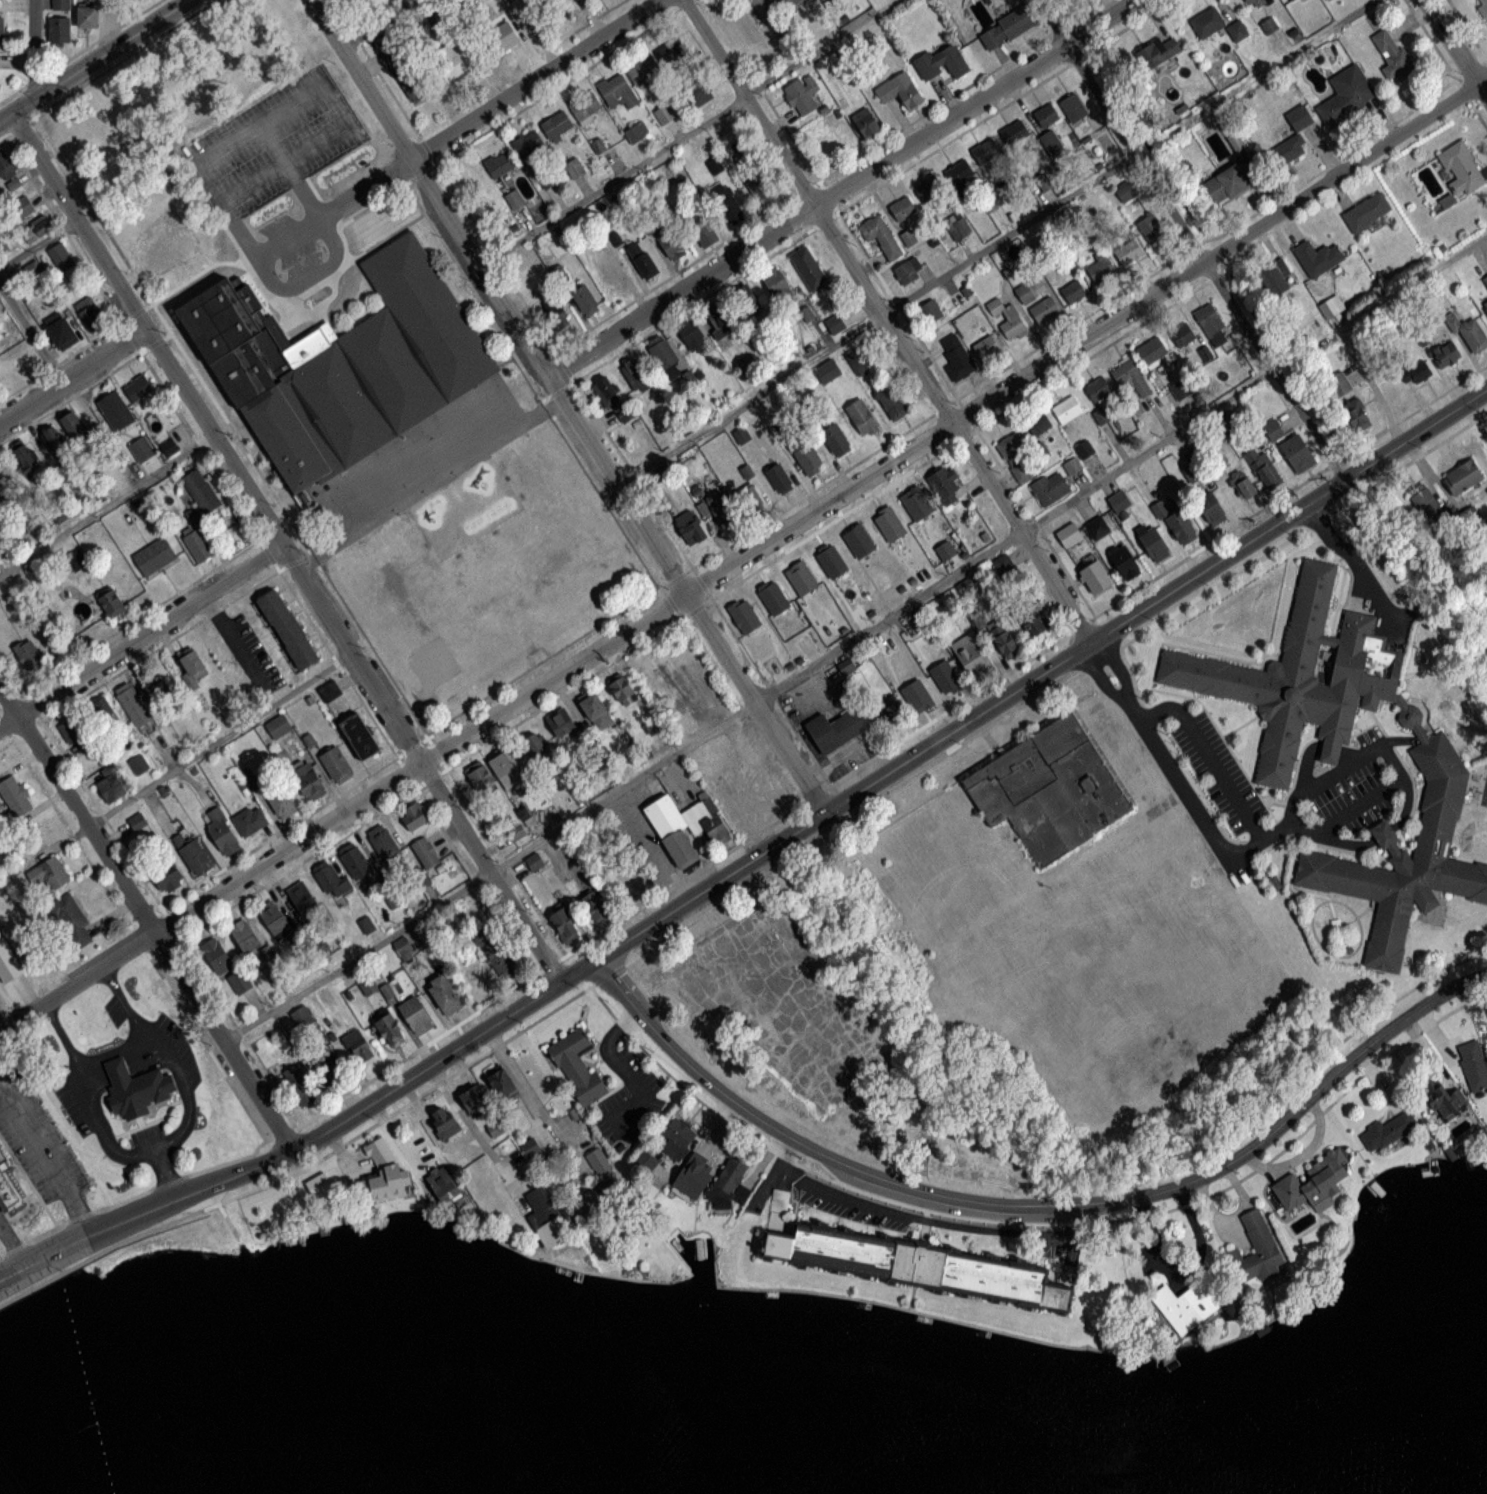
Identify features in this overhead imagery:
building: (790, 2)
building: (1256, 3)
building: (61, 4)
building: (1482, 5)
building: (530, 7)
building: (88, 17)
road: (379, 24)
building: (1007, 28)
building: (59, 30)
building: (3, 31)
building: (501, 37)
road: (1456, 47)
road: (35, 49)
building: (1157, 53)
building: (1394, 57)
road: (94, 60)
building: (454, 60)
building: (657, 60)
building: (943, 63)
building: (405, 72)
building: (0, 90)
building: (617, 91)
building: (900, 91)
building: (803, 95)
building: (1347, 96)
building: (585, 106)
building: (1073, 108)
building: (665, 114)
building: (1047, 115)
building: (1301, 121)
road: (257, 123)
building: (866, 123)
building: (557, 125)
road: (683, 131)
road: (458, 132)
building: (637, 132)
building: (1015, 133)
building: (1051, 142)
building: (601, 144)
building: (830, 145)
building: (528, 146)
building: (1289, 150)
building: (986, 151)
road: (281, 159)
building: (500, 164)
building: (6, 165)
building: (575, 168)
building: (1461, 168)
building: (959, 172)
building: (1045, 183)
building: (1227, 185)
road: (841, 187)
building: (761, 188)
building: (929, 188)
building: (515, 199)
building: (729, 205)
building: (903, 208)
building: (22, 209)
building: (1368, 212)
building: (1152, 229)
building: (36, 230)
road: (329, 230)
building: (704, 233)
building: (880, 236)
road: (1190, 240)
road: (994, 241)
building: (672, 244)
building: (168, 247)
building: (1129, 251)
building: (61, 256)
building: (1319, 258)
building: (642, 260)
building: (809, 269)
building: (1102, 270)
building: (906, 274)
building: (1276, 277)
building: (777, 284)
building: (1074, 292)
building: (585, 299)
building: (747, 300)
building: (1485, 306)
building: (1045, 310)
building: (933, 311)
building: (91, 314)
building: (556, 315)
road: (889, 320)
building: (1010, 321)
building: (721, 323)
building: (835, 324)
road: (32, 331)
building: (1182, 333)
building: (1473, 335)
building: (693, 336)
building: (987, 348)
building: (1153, 351)
building: (1447, 355)
building: (664, 356)
building: (957, 356)
building: (342, 362)
building: (860, 366)
building: (828, 371)
building: (1419, 372)
road: (72, 375)
building: (1131, 377)
building: (639, 378)
building: (1338, 384)
building: (1183, 388)
building: (139, 389)
building: (1098, 389)
building: (612, 398)
road: (1380, 398)
building: (892, 401)
road: (570, 406)
building: (1067, 409)
building: (116, 411)
building: (1357, 416)
building: (862, 417)
building: (1040, 423)
building: (75, 427)
building: (1274, 431)
building: (836, 440)
building: (54, 442)
building: (169, 448)
building: (142, 449)
building: (1084, 450)
building: (1298, 454)
building: (25, 456)
building: (1017, 458)
building: (809, 459)
building: (1072, 466)
building: (1264, 468)
building: (0, 470)
building: (1192, 472)
building: (779, 478)
building: (946, 486)
building: (1245, 487)
building: (202, 491)
building: (750, 498)
building: (1425, 502)
road: (107, 503)
building: (917, 504)
building: (723, 509)
building: (1212, 509)
building: (1176, 521)
building: (889, 525)
building: (691, 528)
building: (1098, 529)
building: (1069, 535)
building: (200, 544)
building: (1154, 544)
road: (283, 550)
road: (747, 554)
building: (155, 556)
building: (831, 561)
building: (1125, 563)
road: (1358, 564)
building: (1005, 566)
building: (1096, 577)
building: (802, 578)
building: (774, 598)
building: (111, 602)
building: (744, 615)
building: (1033, 622)
building: (286, 626)
road: (854, 635)
road: (139, 636)
building: (1004, 640)
road: (233, 641)
road: (1089, 644)
building: (972, 651)
building: (29, 655)
building: (193, 664)
building: (946, 677)
building: (618, 684)
building: (918, 696)
building: (134, 706)
building: (596, 710)
building: (561, 722)
building: (834, 726)
building: (73, 730)
parking lot: (1367, 734)
road: (217, 736)
building: (360, 736)
building: (536, 746)
road: (1328, 748)
road: (1348, 752)
road: (1207, 755)
road: (1393, 763)
building: (139, 765)
building: (336, 765)
building: (1441, 766)
building: (509, 767)
parking lot: (1217, 771)
building: (481, 777)
building: (308, 779)
building: (111, 787)
building: (1046, 787)
parking lot: (1345, 788)
building: (16, 795)
building: (273, 798)
road: (1405, 803)
building: (665, 805)
road: (1194, 808)
parking lot: (1369, 812)
building: (414, 816)
building: (251, 821)
building: (706, 821)
road: (1289, 821)
road: (1381, 831)
building: (223, 833)
building: (384, 843)
building: (681, 849)
building: (427, 853)
building: (194, 854)
road: (756, 859)
building: (357, 863)
building: (49, 874)
building: (169, 876)
road: (757, 877)
building: (333, 880)
building: (302, 898)
building: (595, 905)
building: (74, 919)
road: (145, 920)
building: (275, 920)
building: (565, 924)
building: (246, 937)
building: (503, 959)
building: (7, 962)
building: (226, 968)
building: (444, 992)
road: (123, 1003)
building: (416, 1014)
building: (389, 1029)
building: (357, 1045)
building: (325, 1056)
road: (77, 1063)
building: (575, 1063)
road: (618, 1066)
building: (1478, 1073)
building: (502, 1082)
road: (523, 1084)
building: (299, 1085)
building: (133, 1086)
building: (1447, 1099)
building: (474, 1100)
parking lot: (71, 1109)
building: (444, 1121)
road: (473, 1127)
building: (1395, 1128)
parking lot: (144, 1132)
building: (677, 1139)
road: (155, 1147)
road: (44, 1160)
building: (2, 1161)
road: (163, 1173)
building: (383, 1174)
building: (695, 1177)
building: (1313, 1181)
building: (730, 1183)
building: (601, 1187)
building: (6, 1192)
road: (1035, 1204)
road: (901, 1211)
building: (547, 1219)
road: (1069, 1219)
road: (10, 1245)
building: (1256, 1250)
building: (915, 1262)
building: (1188, 1305)
river: (282, 1434)
river: (1442, 1480)

